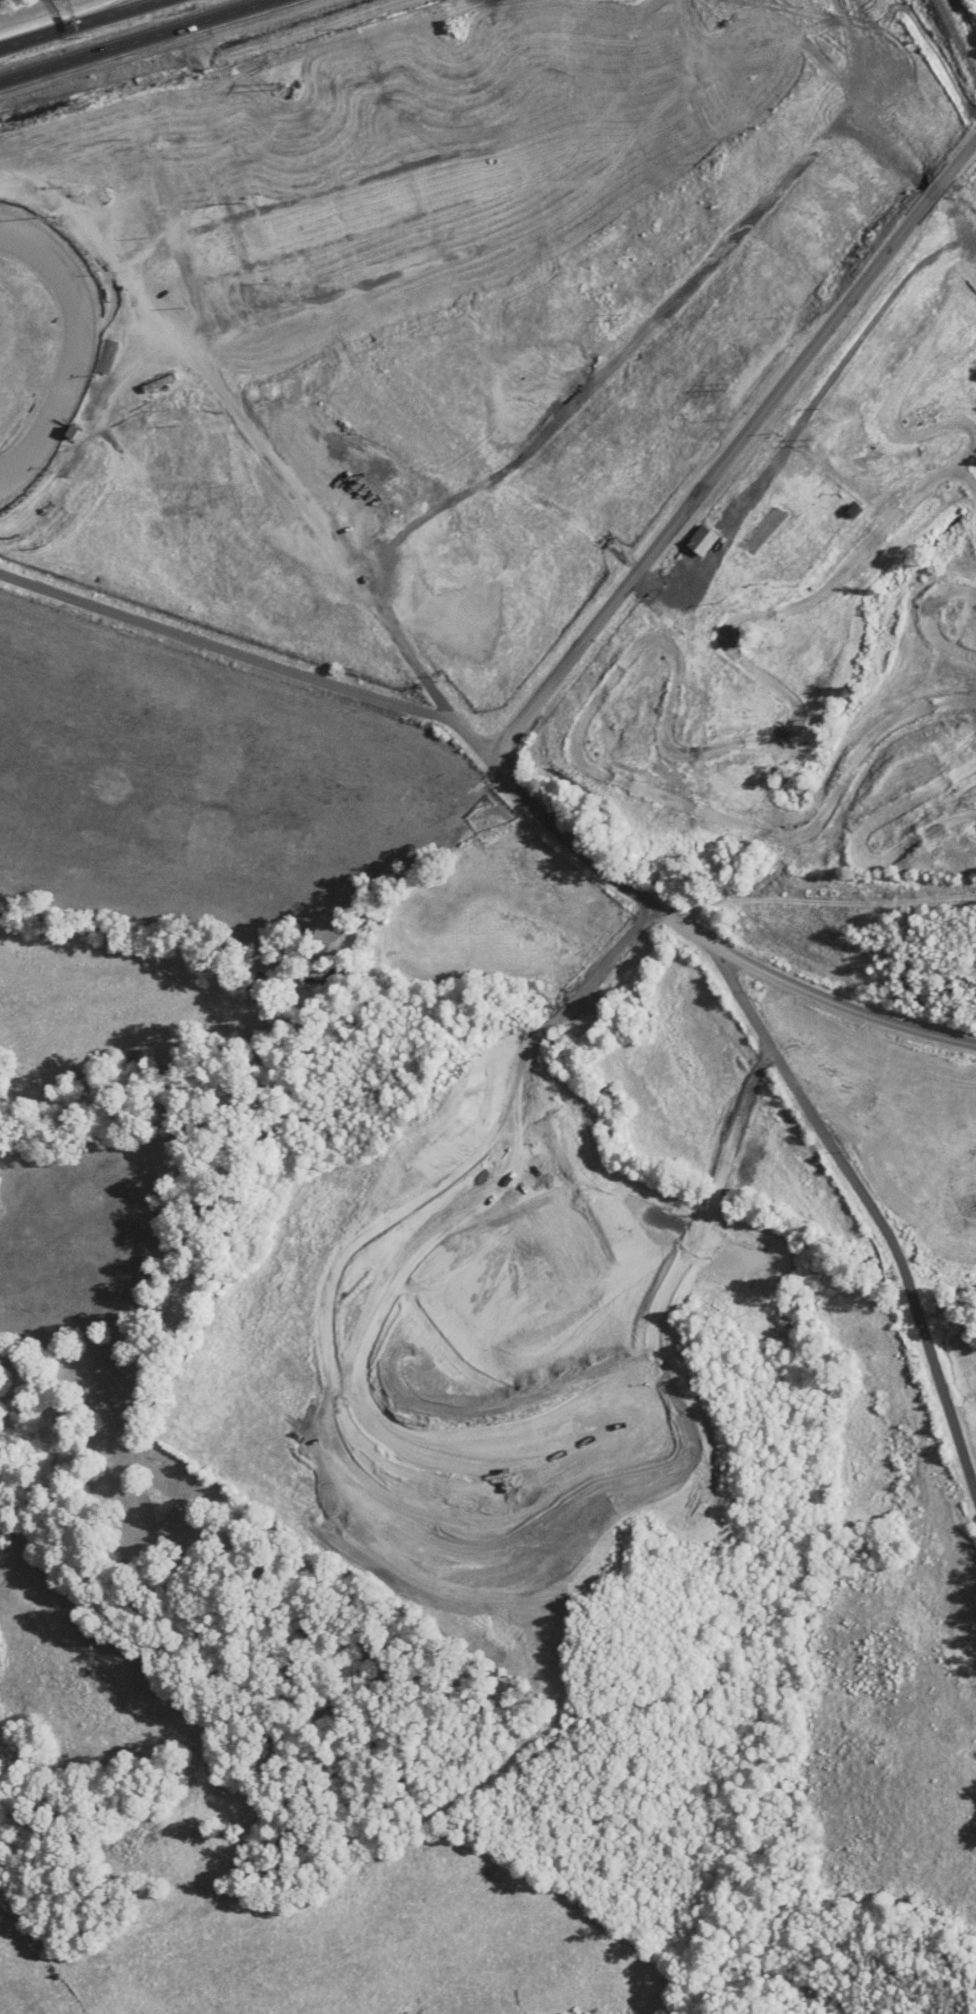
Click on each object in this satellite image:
road: (75, 22)
road: (130, 39)
railway: (956, 40)
raceway: (79, 342)
road: (737, 449)
building: (765, 531)
building: (702, 542)
road: (218, 646)
road: (685, 918)
road: (878, 1200)

